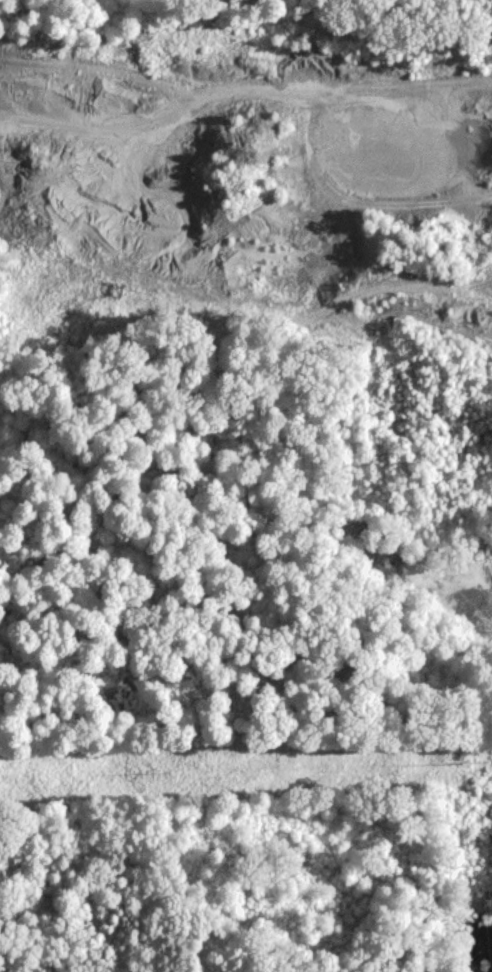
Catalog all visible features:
road: (310, 143)

